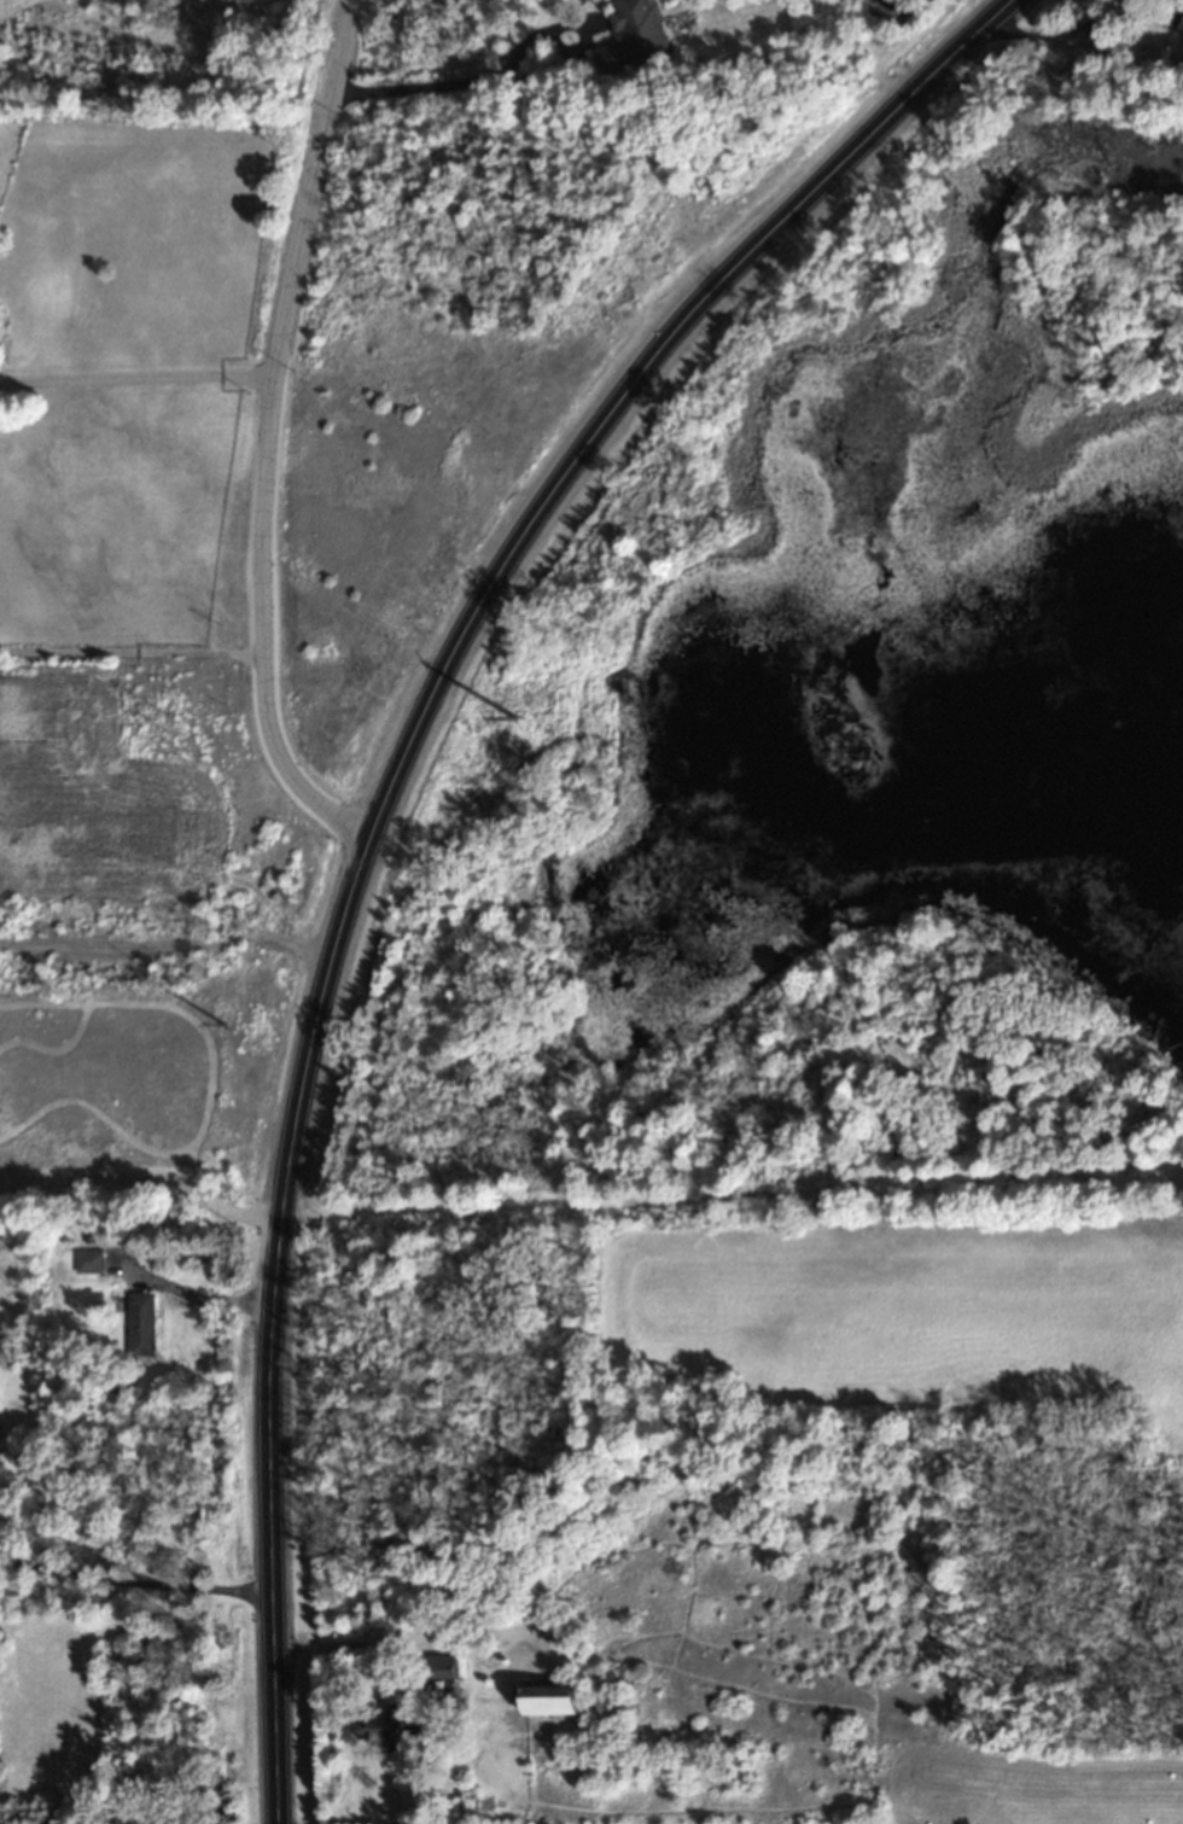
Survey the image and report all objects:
road: (1078, 29)
building: (634, 37)
road: (461, 80)
road: (135, 379)
road: (262, 445)
road: (130, 655)
power tower: (515, 722)
power tower: (168, 725)
road: (385, 806)
road: (169, 944)
power tower: (221, 1027)
road: (144, 1182)
road: (730, 1202)
building: (91, 1264)
road: (193, 1295)
building: (142, 1327)
road: (136, 1580)
road: (352, 1645)
building: (438, 1668)
building: (554, 1702)
building: (387, 1732)

